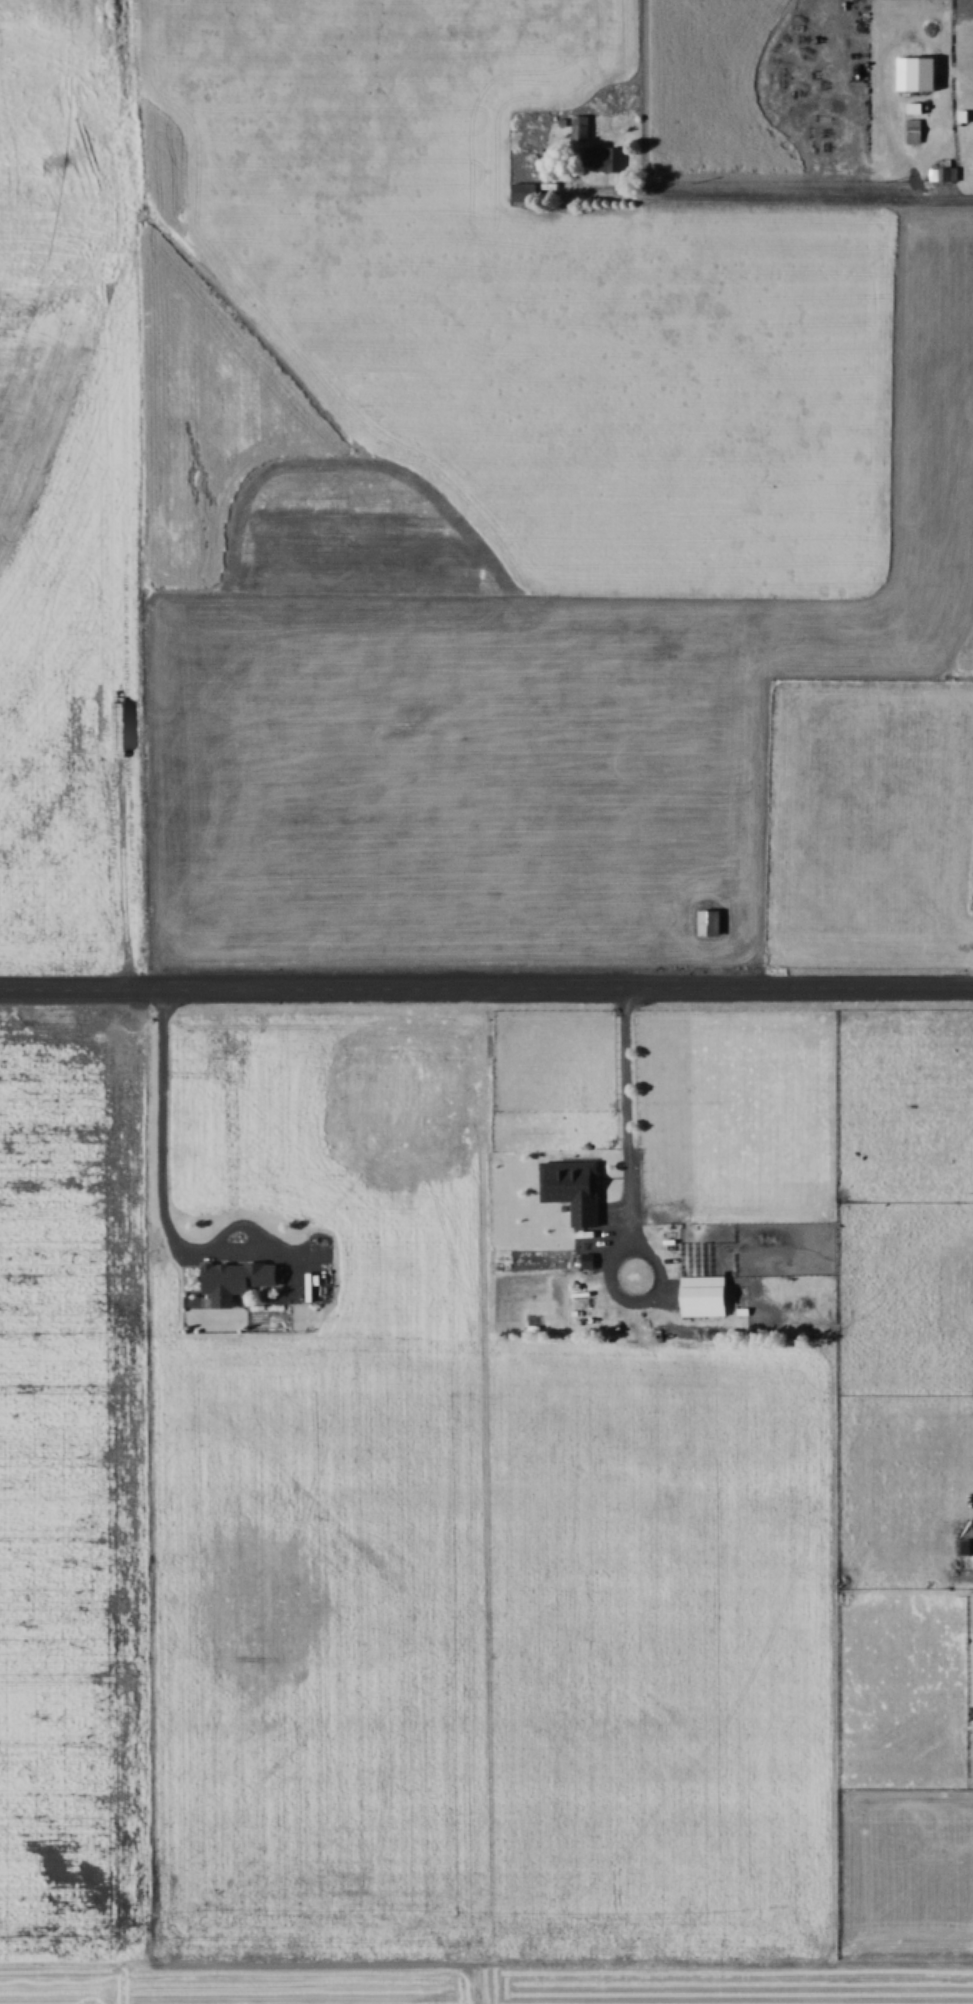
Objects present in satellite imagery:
building: (925, 73)
building: (582, 127)
building: (916, 130)
building: (603, 157)
building: (945, 171)
building: (525, 192)
road: (775, 195)
crop: (44, 261)
crop: (484, 328)
crop: (536, 724)
building: (710, 921)
road: (486, 986)
road: (628, 1100)
road: (164, 1143)
building: (575, 1187)
building: (239, 1277)
building: (706, 1295)

